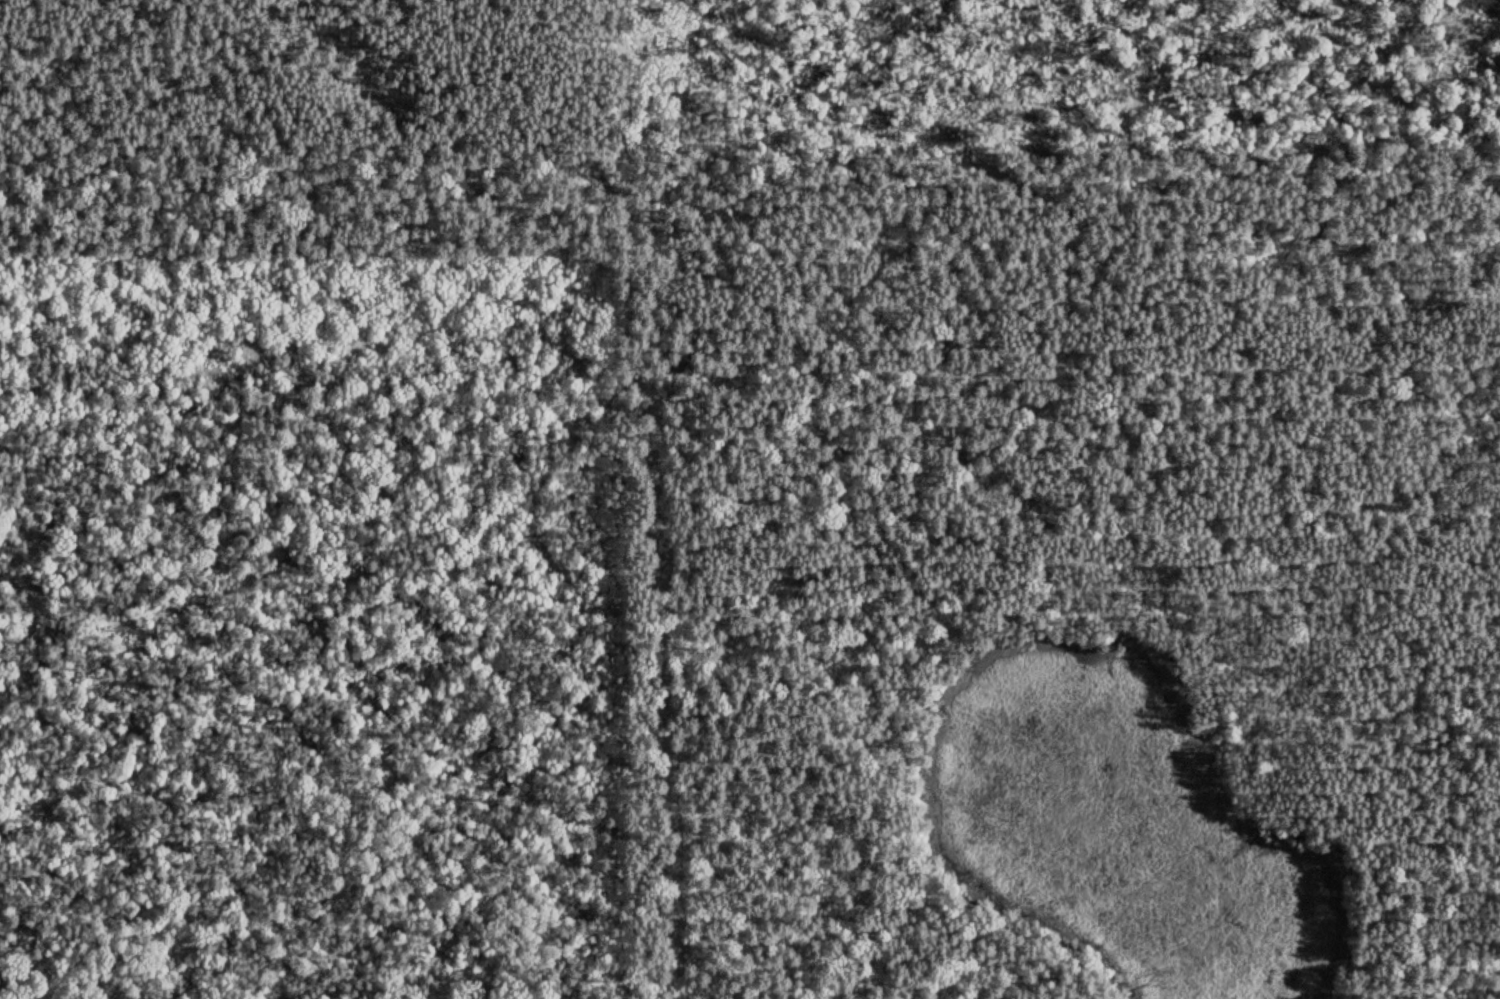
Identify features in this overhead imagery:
road: (343, 23)
road: (728, 136)

